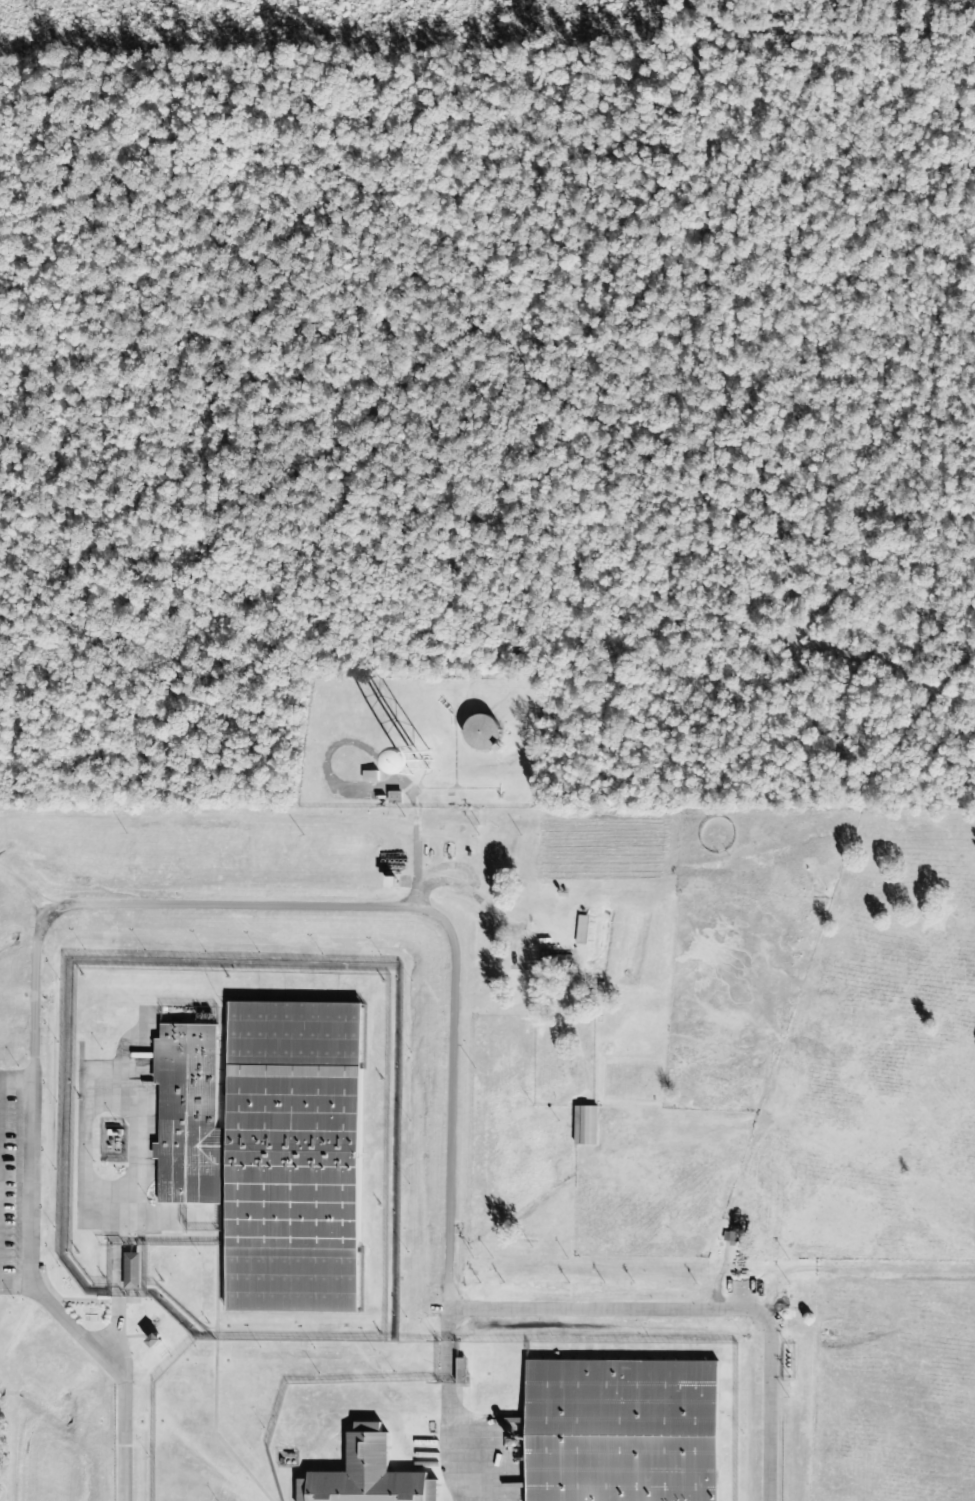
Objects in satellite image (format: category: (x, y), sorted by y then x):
building: (480, 734)
road: (377, 907)
building: (580, 929)
building: (554, 958)
building: (584, 1125)
building: (270, 1147)
parking lot: (11, 1174)
building: (731, 1235)
building: (130, 1270)
building: (621, 1430)
building: (366, 1474)

